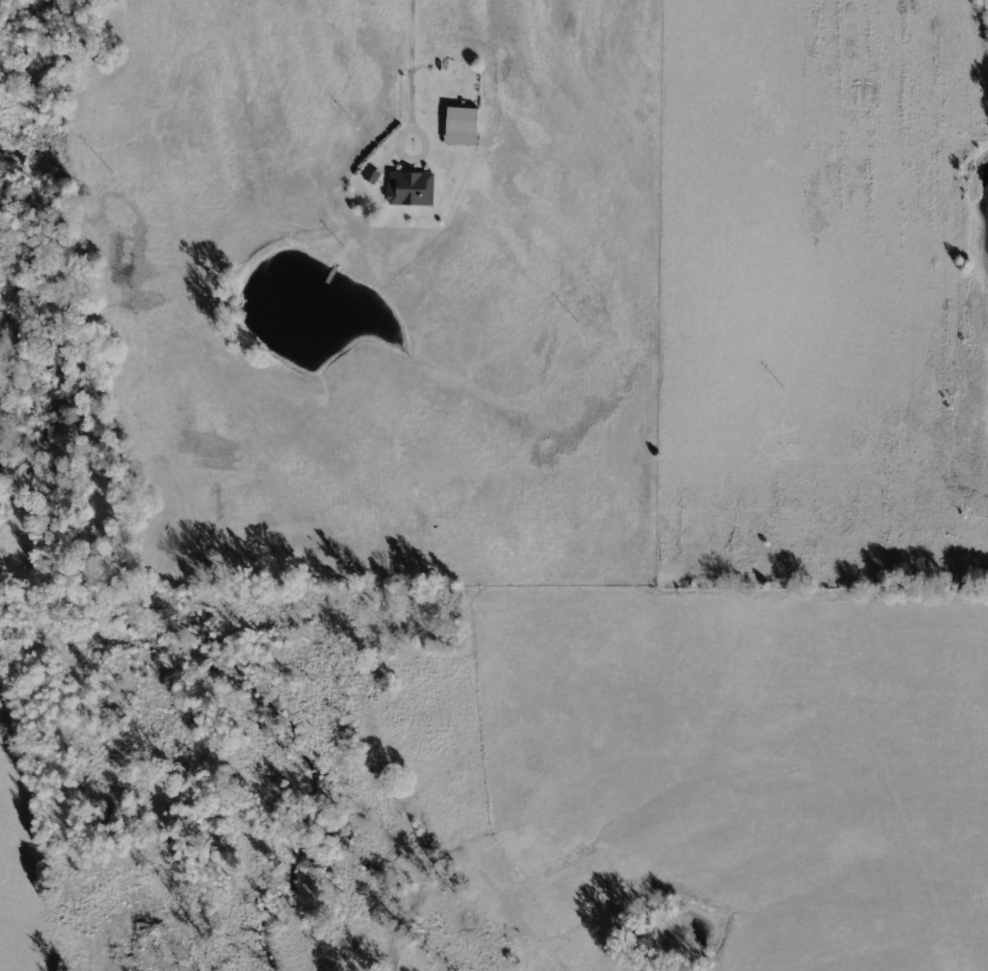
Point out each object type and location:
road: (865, 20)
building: (462, 126)
building: (372, 175)
building: (412, 188)

